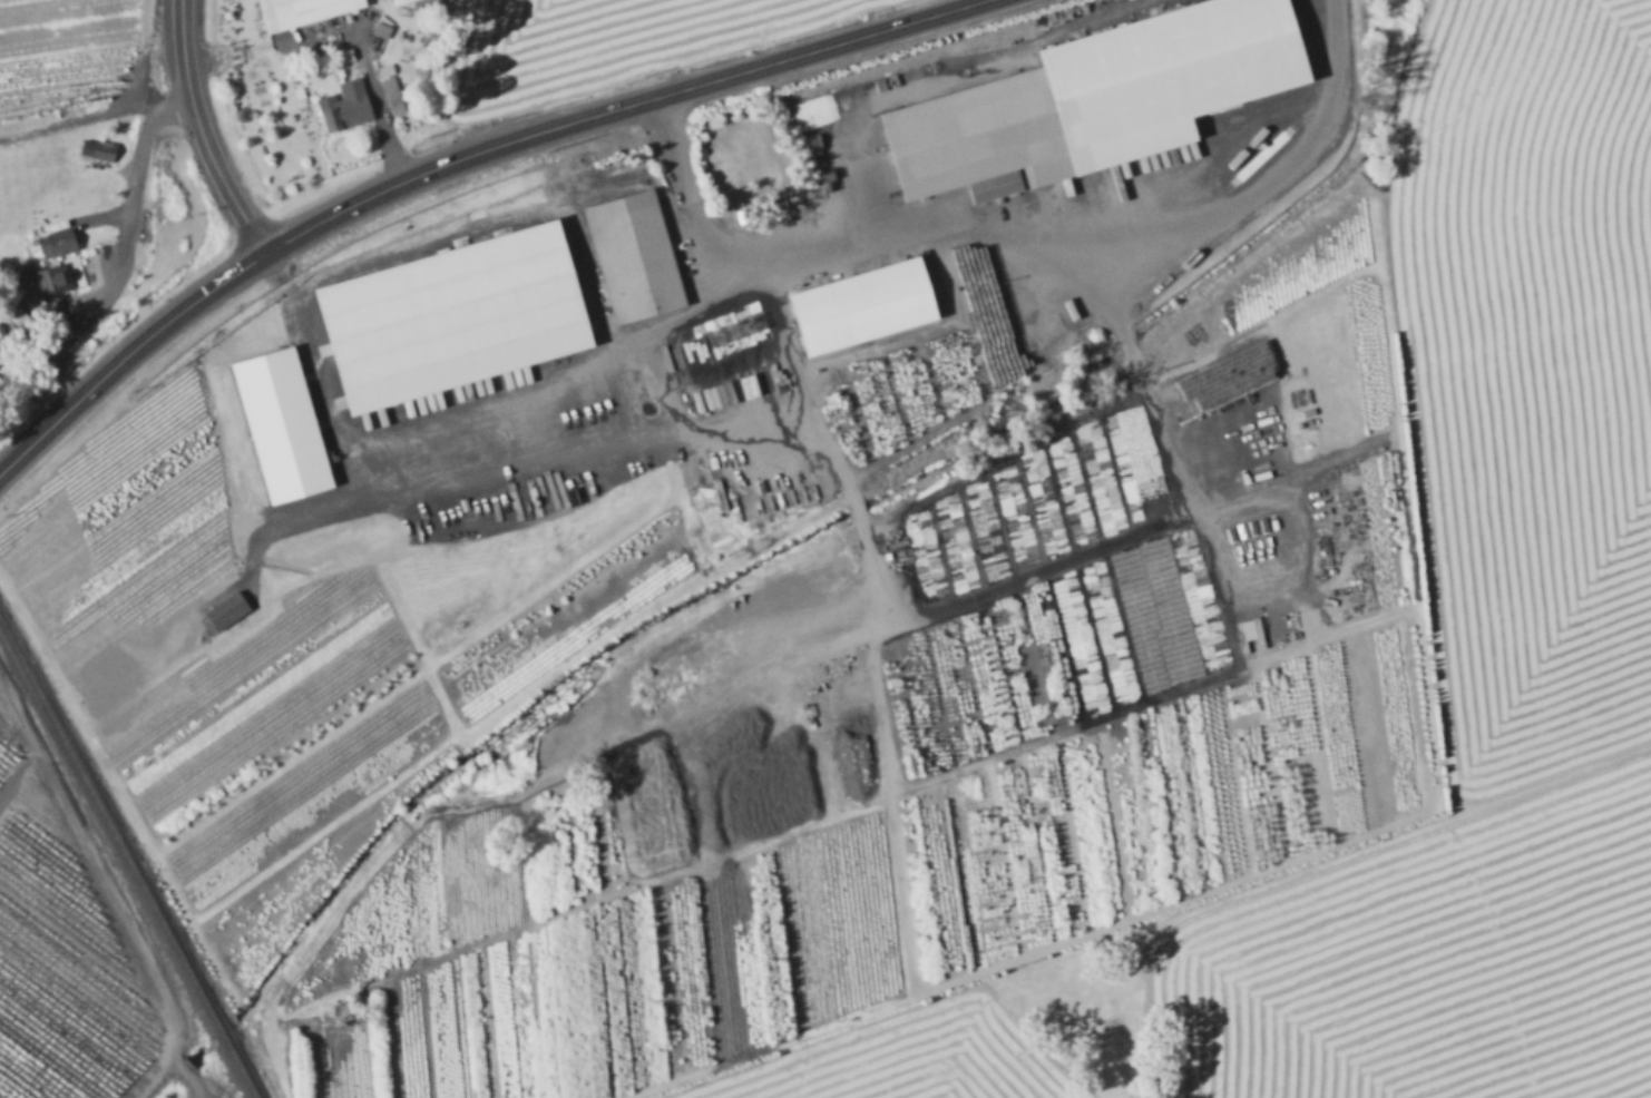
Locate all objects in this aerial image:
building: (397, 0)
building: (423, 3)
building: (299, 10)
building: (1160, 60)
building: (384, 69)
building: (392, 95)
building: (1339, 96)
road: (375, 100)
road: (1248, 101)
building: (346, 105)
road: (614, 106)
road: (202, 131)
road: (1172, 133)
building: (979, 136)
building: (811, 138)
building: (713, 140)
building: (96, 147)
building: (723, 165)
road: (1268, 175)
building: (787, 185)
road: (125, 225)
road: (1058, 238)
building: (55, 239)
building: (633, 254)
building: (40, 275)
building: (862, 302)
road: (673, 315)
building: (449, 316)
road: (126, 353)
crop: (1530, 405)
building: (277, 425)
road: (1069, 560)
road: (883, 729)
railway: (128, 857)
crop: (72, 952)

